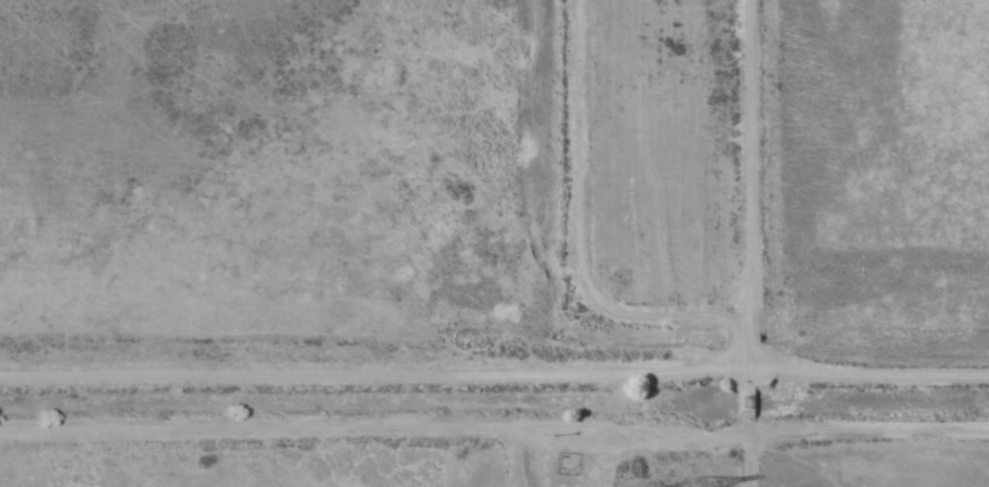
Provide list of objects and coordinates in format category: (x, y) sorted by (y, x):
road: (669, 187)
crop: (494, 243)
road: (872, 367)
road: (494, 420)
power tower: (698, 485)

